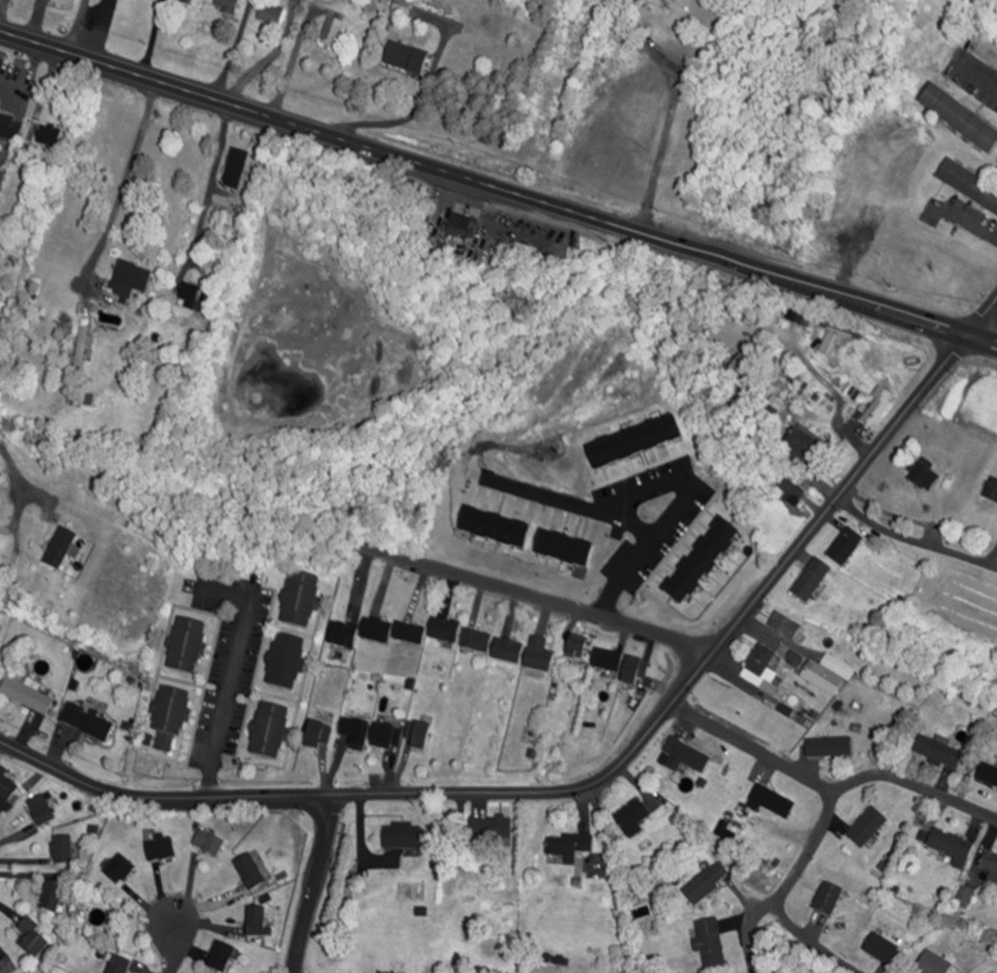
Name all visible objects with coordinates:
building: (186, 2)
building: (64, 3)
building: (230, 7)
building: (404, 7)
road: (3, 8)
building: (273, 14)
road: (38, 20)
road: (80, 26)
building: (334, 33)
road: (149, 37)
road: (234, 49)
building: (408, 59)
road: (268, 62)
road: (975, 75)
road: (672, 108)
building: (962, 117)
building: (11, 127)
building: (237, 170)
building: (970, 184)
road: (127, 185)
road: (208, 185)
road: (498, 187)
road: (964, 219)
building: (131, 280)
building: (189, 300)
road: (982, 317)
building: (799, 318)
building: (82, 349)
building: (746, 368)
building: (804, 447)
road: (12, 470)
building: (925, 476)
building: (1, 485)
road: (517, 485)
building: (992, 489)
building: (793, 490)
building: (0, 537)
road: (914, 539)
road: (651, 544)
building: (846, 545)
building: (61, 548)
building: (812, 579)
road: (222, 592)
road: (540, 596)
building: (302, 601)
building: (787, 626)
building: (447, 631)
building: (379, 632)
building: (411, 634)
building: (345, 636)
building: (478, 642)
building: (188, 647)
building: (577, 651)
building: (509, 652)
building: (541, 656)
building: (793, 656)
parking lot: (231, 659)
building: (609, 661)
building: (287, 663)
building: (637, 671)
building: (830, 674)
building: (28, 696)
road: (228, 697)
building: (171, 719)
building: (89, 722)
building: (271, 732)
building: (358, 735)
building: (388, 735)
building: (320, 736)
building: (419, 736)
building: (831, 747)
road: (753, 748)
building: (940, 751)
building: (686, 757)
building: (989, 775)
road: (916, 784)
building: (7, 788)
road: (583, 788)
building: (774, 802)
building: (42, 811)
building: (633, 819)
building: (869, 827)
building: (492, 830)
building: (404, 836)
building: (210, 843)
building: (953, 846)
building: (571, 847)
road: (806, 849)
building: (64, 850)
building: (163, 850)
building: (991, 866)
building: (121, 870)
building: (252, 872)
road: (619, 877)
building: (708, 883)
road: (316, 885)
building: (54, 897)
building: (829, 898)
building: (258, 923)
road: (751, 934)
road: (814, 940)
building: (33, 941)
building: (711, 943)
road: (172, 948)
building: (883, 949)
building: (222, 957)
building: (936, 964)
building: (121, 965)
building: (8, 966)

